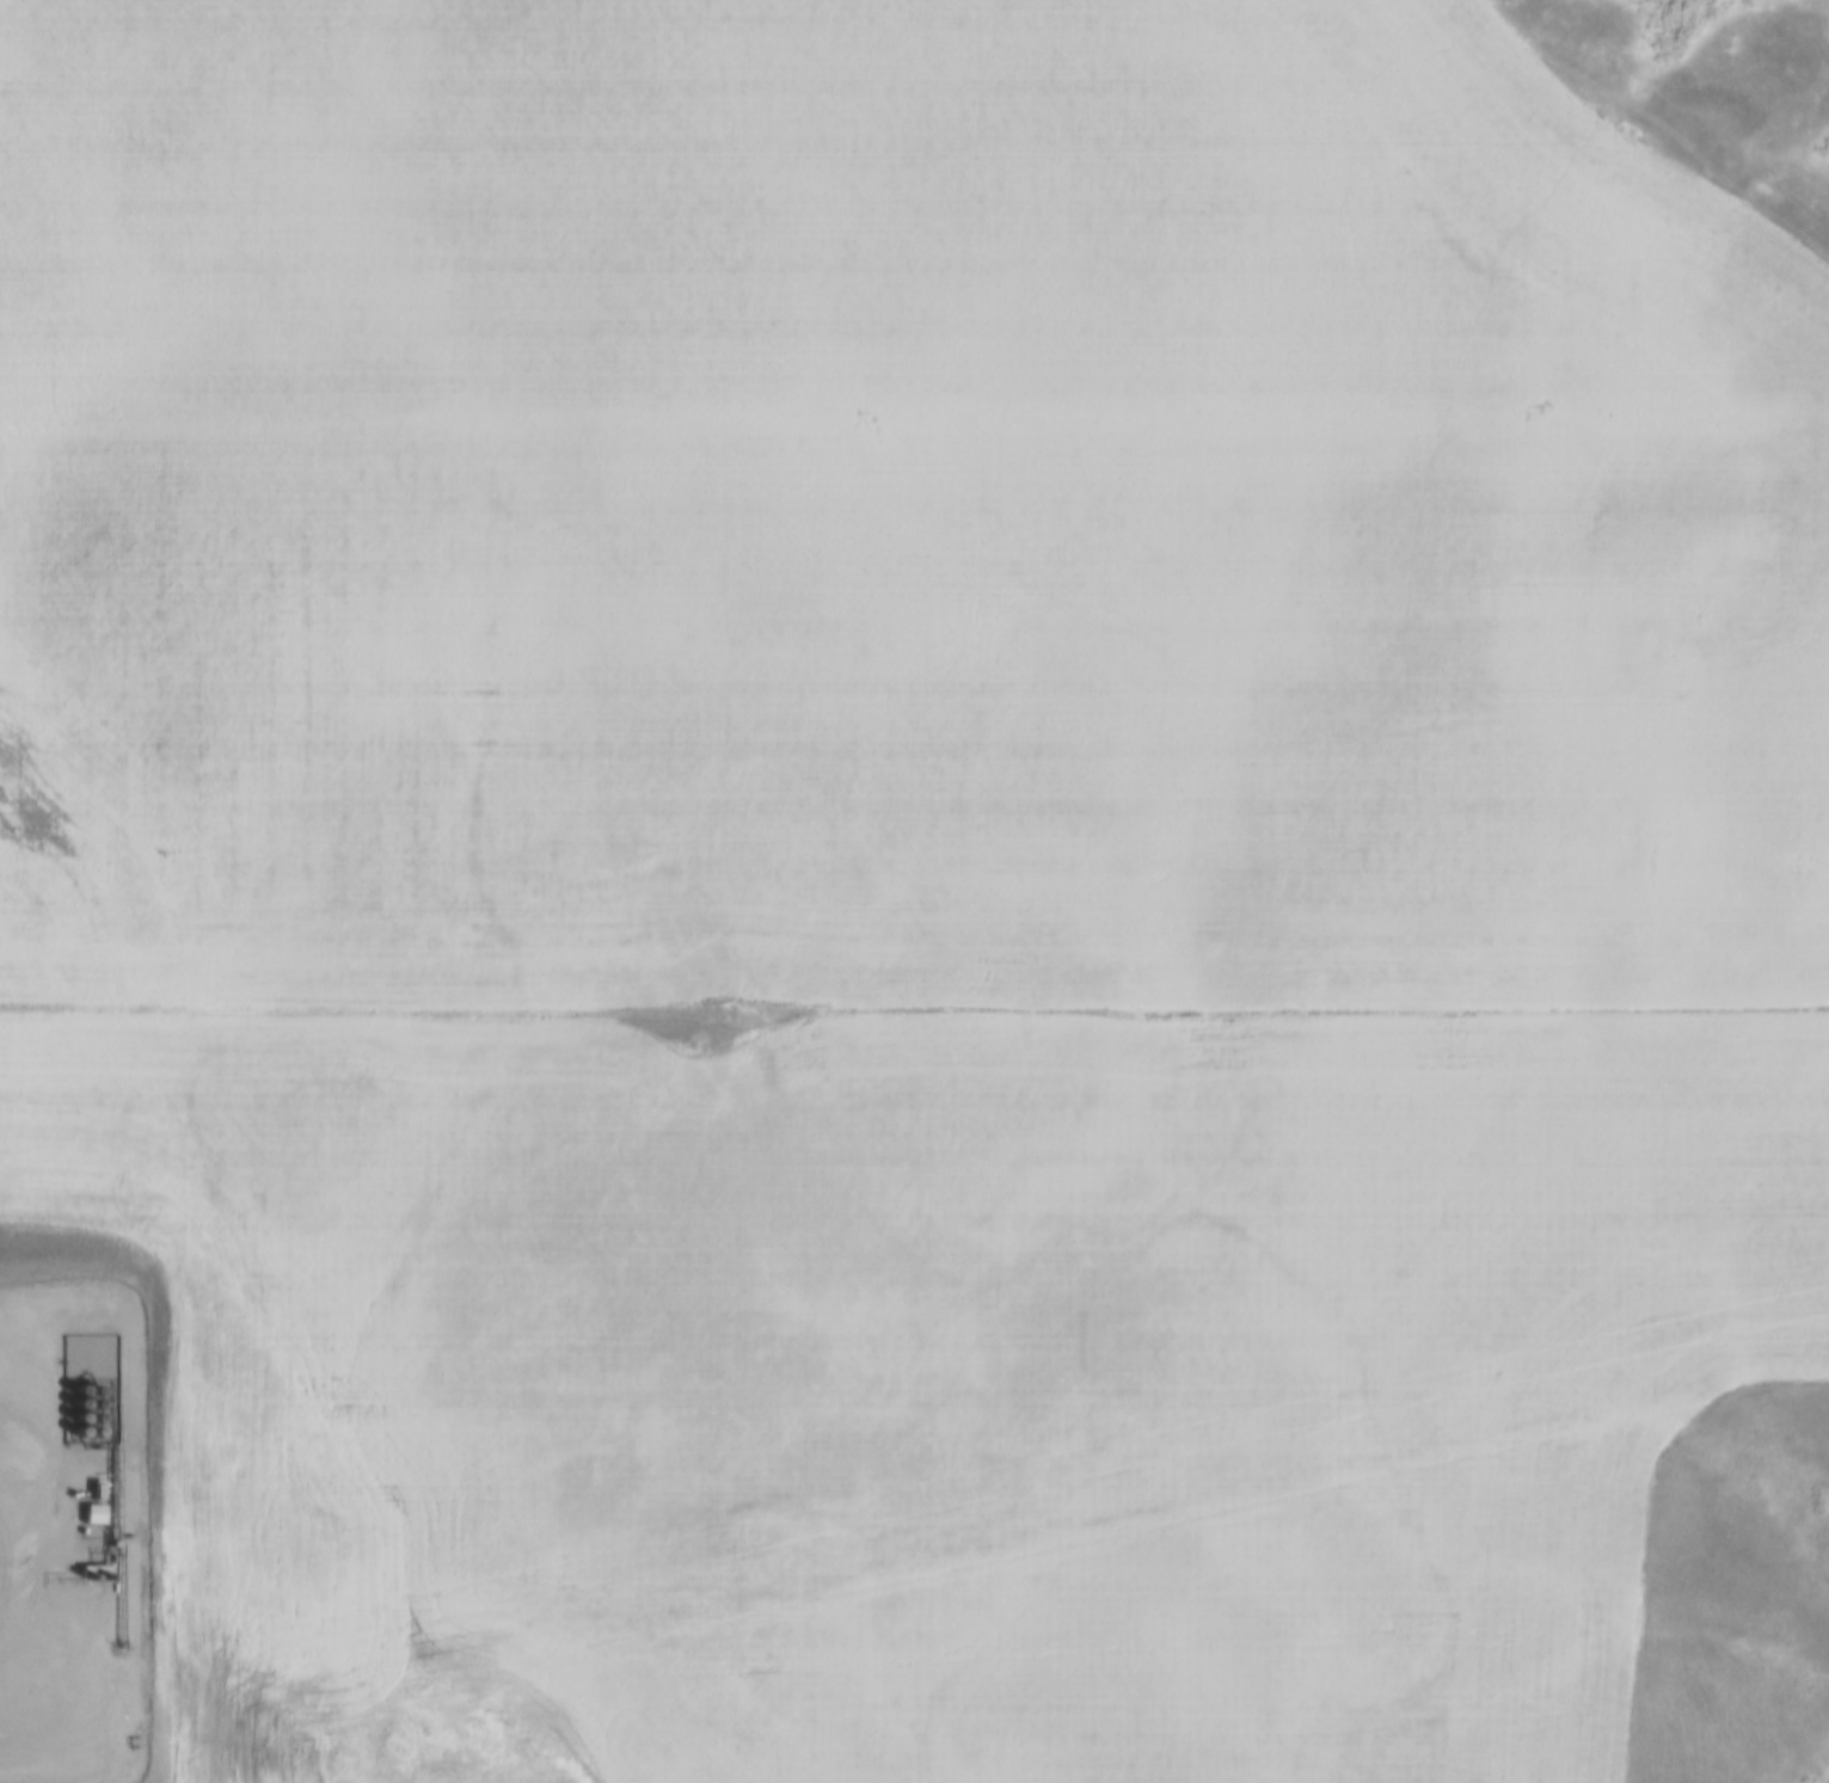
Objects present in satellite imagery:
building: (74, 1335)
storage tank: (74, 1335)
building: (91, 1336)
storage tank: (91, 1336)
building: (73, 1349)
storage tank: (73, 1349)
building: (91, 1349)
storage tank: (91, 1349)
building: (90, 1363)
storage tank: (90, 1363)
building: (73, 1365)
storage tank: (73, 1365)
building: (90, 1378)
storage tank: (90, 1378)
building: (73, 1379)
storage tank: (73, 1379)
building: (90, 1391)
storage tank: (90, 1391)
building: (74, 1392)
storage tank: (74, 1392)
building: (90, 1406)
storage tank: (90, 1406)
building: (74, 1407)
storage tank: (74, 1407)
building: (73, 1419)
storage tank: (73, 1419)
building: (91, 1419)
storage tank: (91, 1419)

